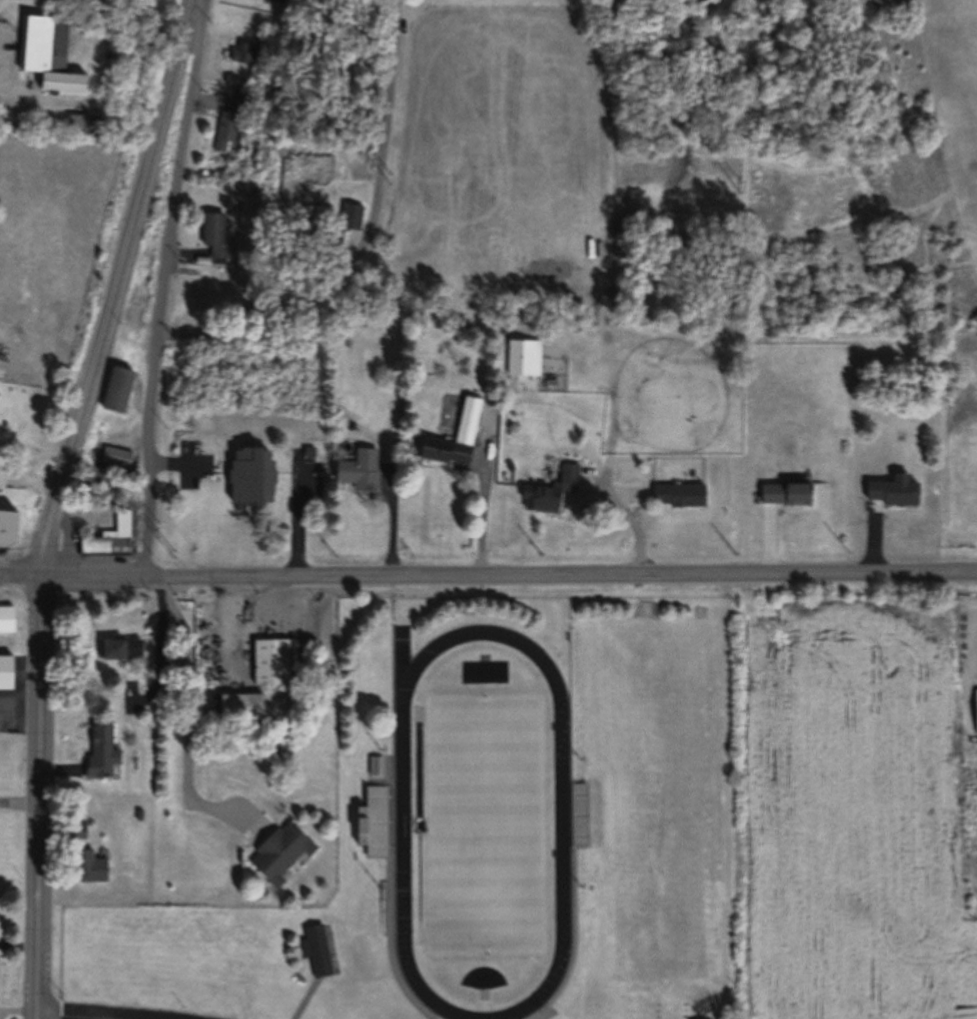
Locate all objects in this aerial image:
building: (253, 43)
building: (248, 56)
building: (47, 60)
building: (238, 68)
building: (233, 80)
building: (246, 89)
building: (242, 102)
building: (233, 117)
building: (83, 123)
building: (226, 136)
building: (327, 207)
building: (352, 212)
building: (220, 226)
road: (367, 235)
road: (166, 285)
building: (524, 355)
building: (120, 385)
building: (455, 433)
building: (120, 450)
building: (361, 468)
building: (253, 471)
building: (2, 474)
road: (486, 488)
building: (551, 488)
building: (898, 490)
building: (679, 491)
building: (786, 493)
road: (56, 500)
building: (2, 525)
building: (112, 536)
road: (488, 570)
building: (6, 617)
building: (119, 646)
building: (276, 657)
building: (5, 672)
road: (20, 694)
building: (164, 698)
building: (242, 701)
building: (973, 710)
road: (192, 717)
building: (101, 751)
building: (374, 766)
building: (143, 798)
building: (577, 816)
building: (371, 822)
building: (78, 828)
building: (282, 848)
building: (90, 865)
road: (18, 941)
road: (71, 1017)
road: (88, 1018)
parking lot: (204, 1018)

